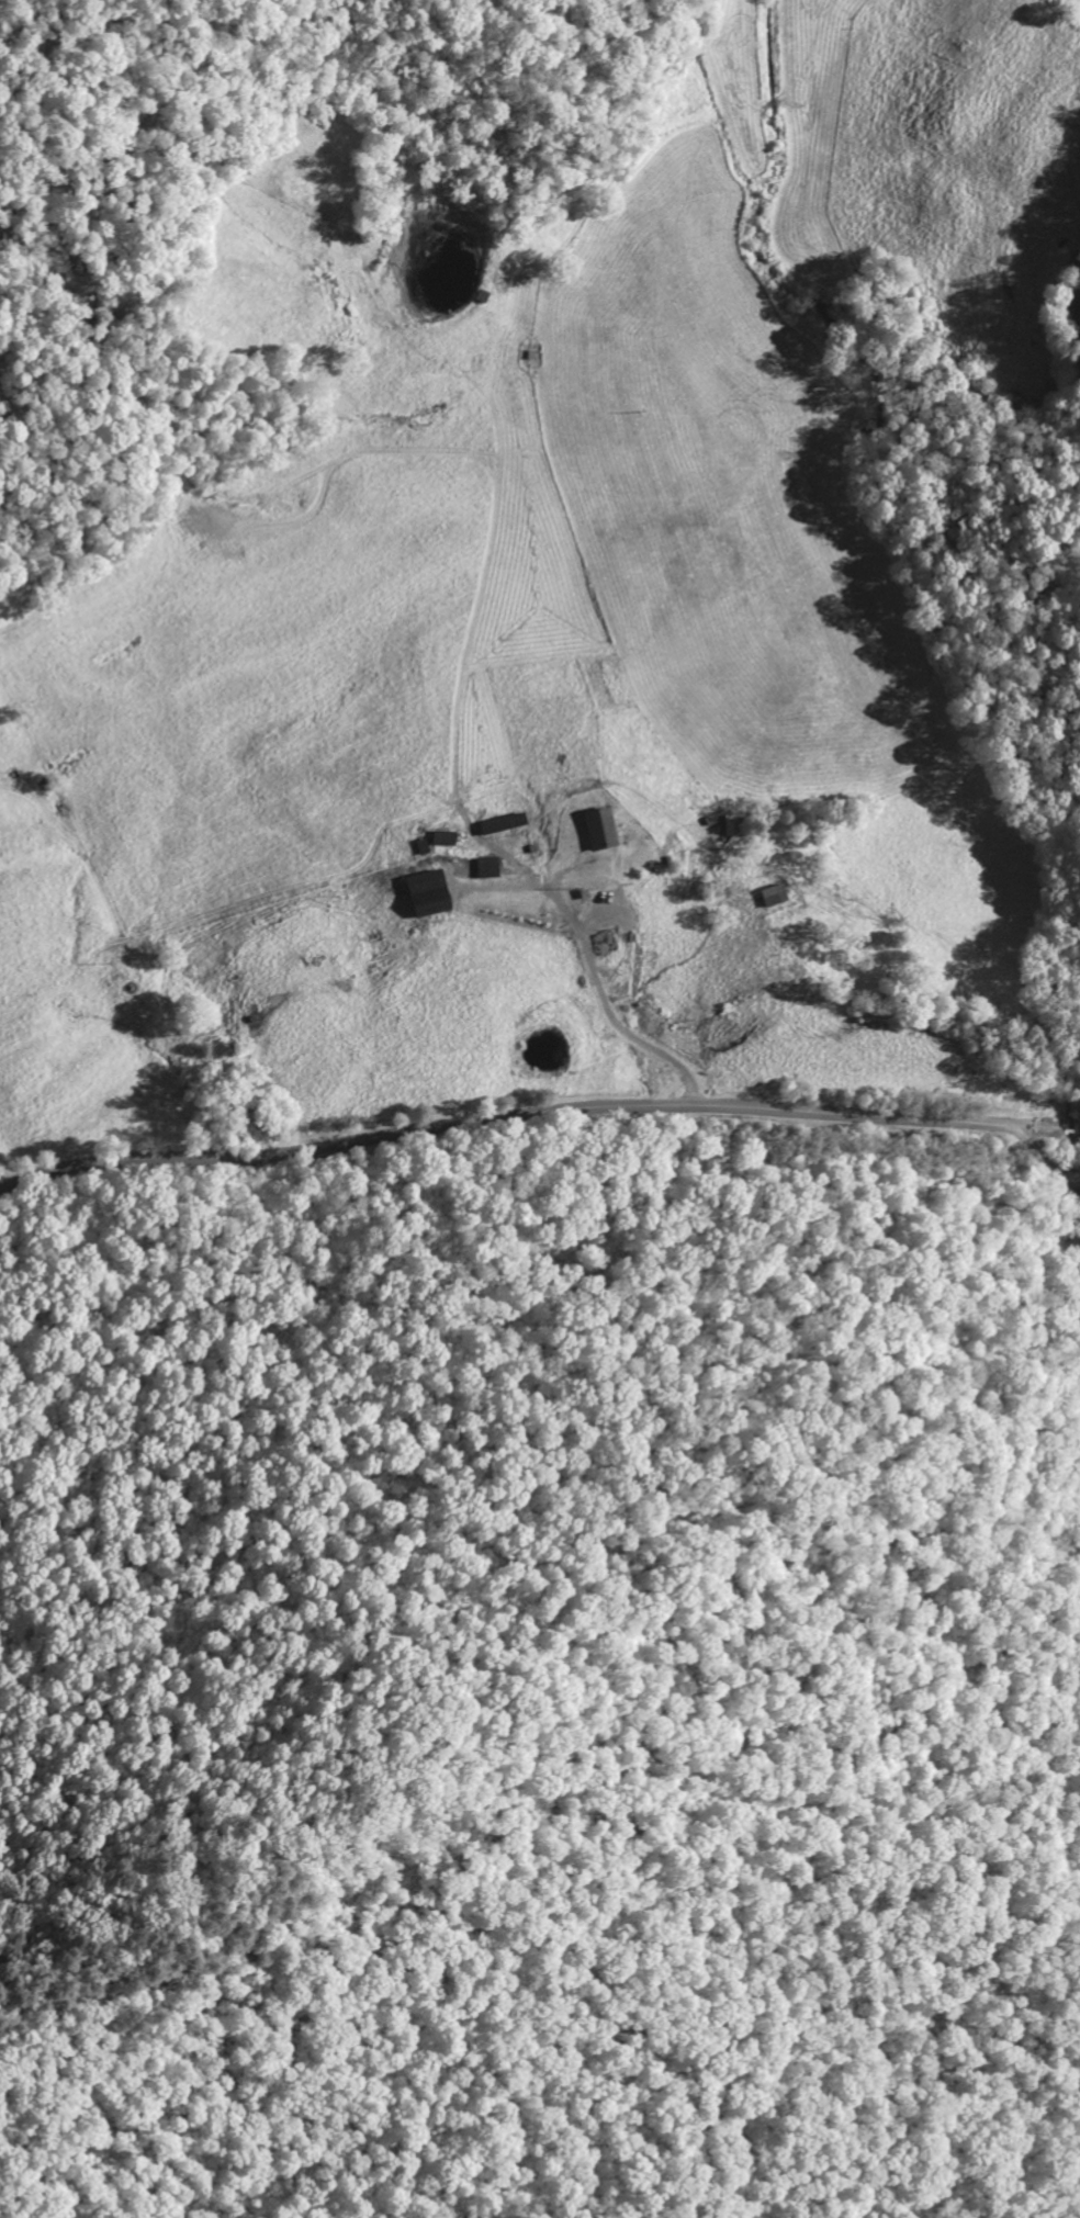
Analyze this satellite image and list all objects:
building: (730, 825)
building: (601, 830)
building: (445, 838)
building: (490, 867)
building: (430, 894)
road: (609, 1005)
road: (528, 1115)
road: (1070, 1129)
road: (1078, 1130)
road: (1057, 1298)

